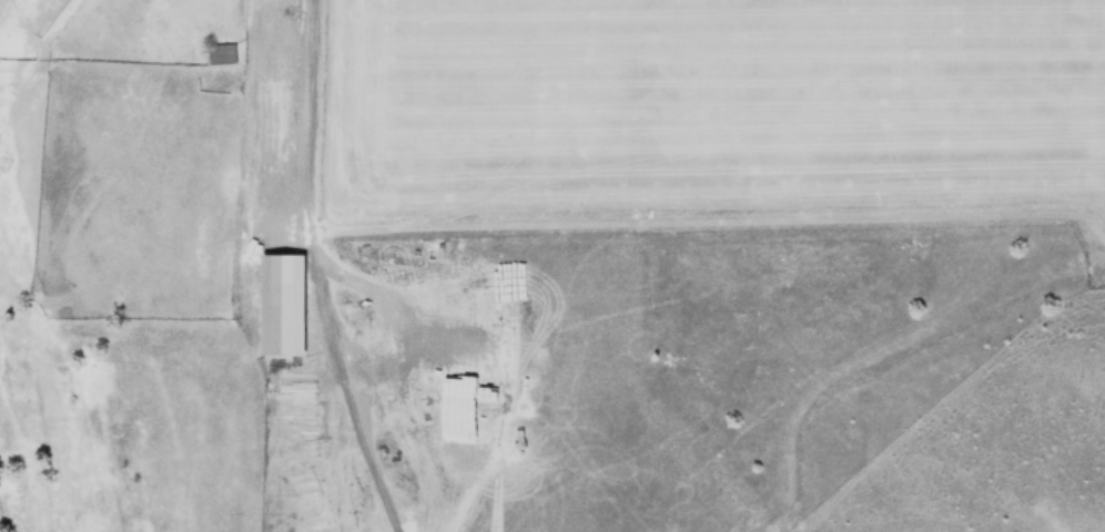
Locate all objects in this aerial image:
building: (220, 53)
crop: (698, 106)
road: (304, 112)
building: (281, 304)

